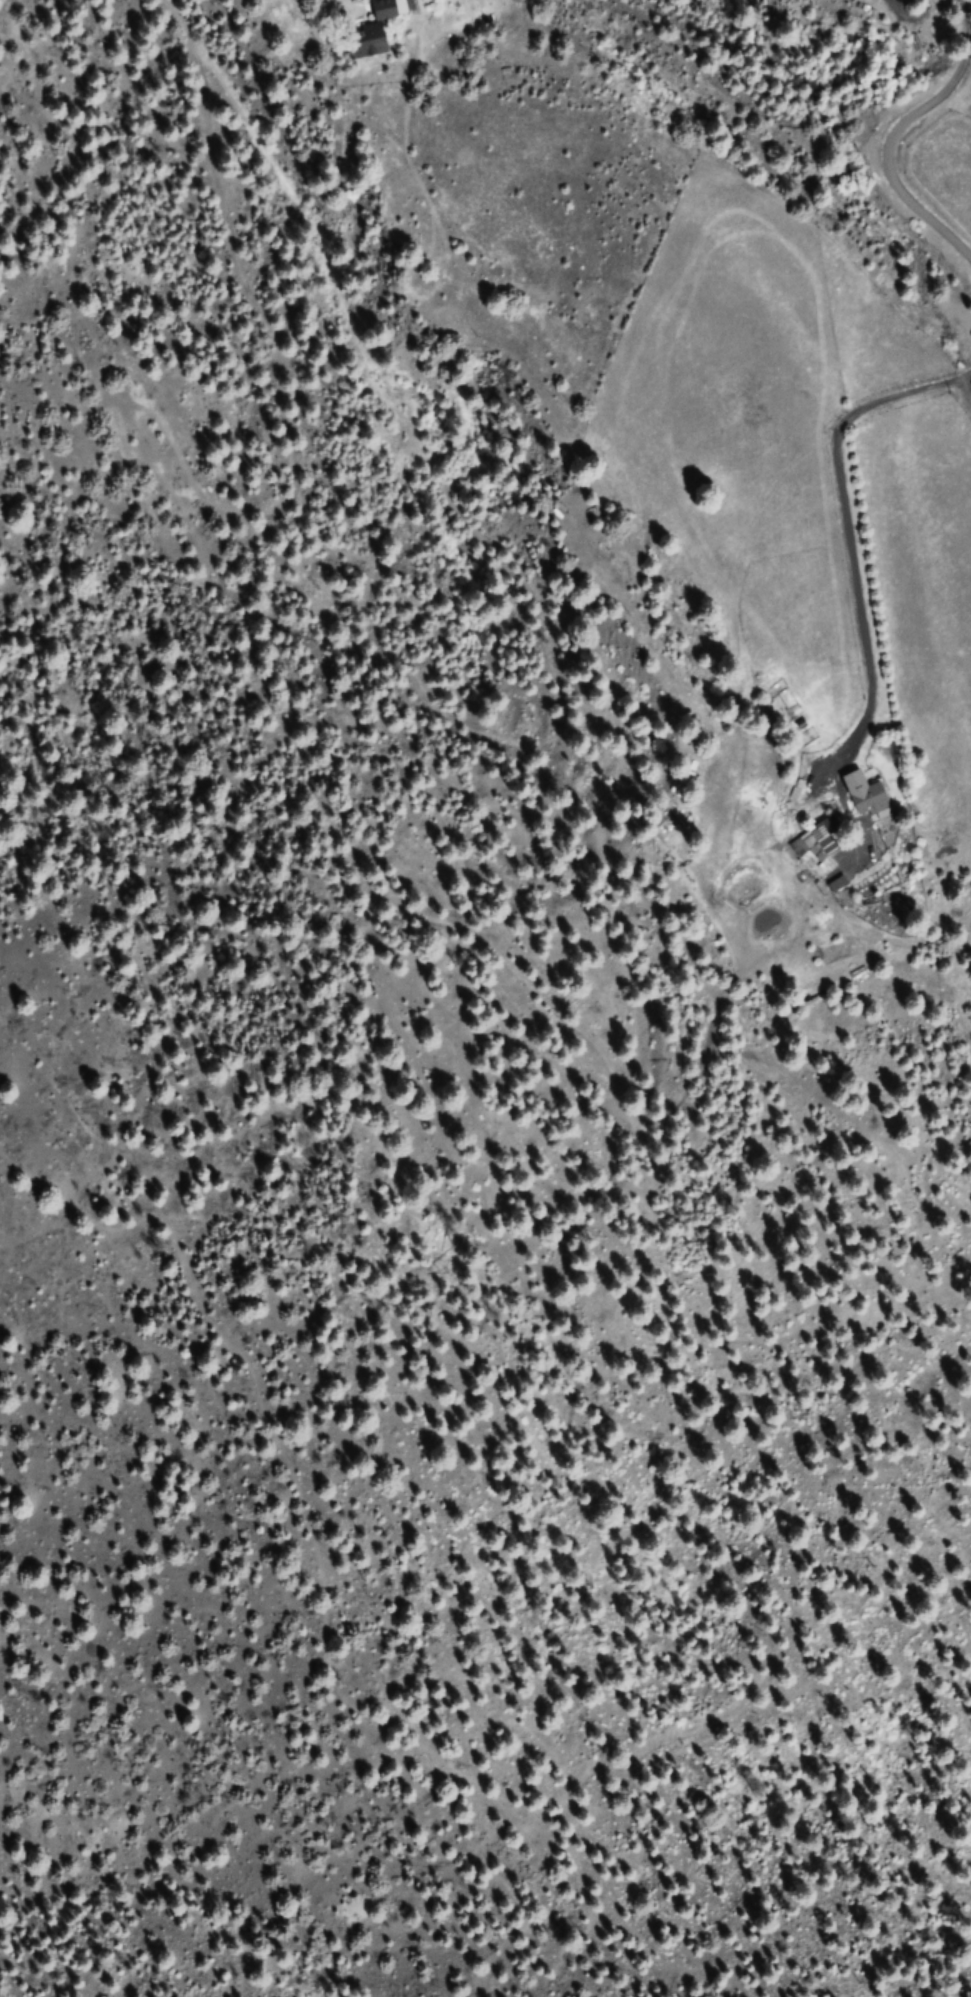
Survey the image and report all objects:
building: (383, 9)
building: (361, 41)
road: (896, 131)
road: (896, 538)
building: (866, 799)
building: (836, 883)
mineshaft: (614, 1850)
mineshaft: (542, 1964)

